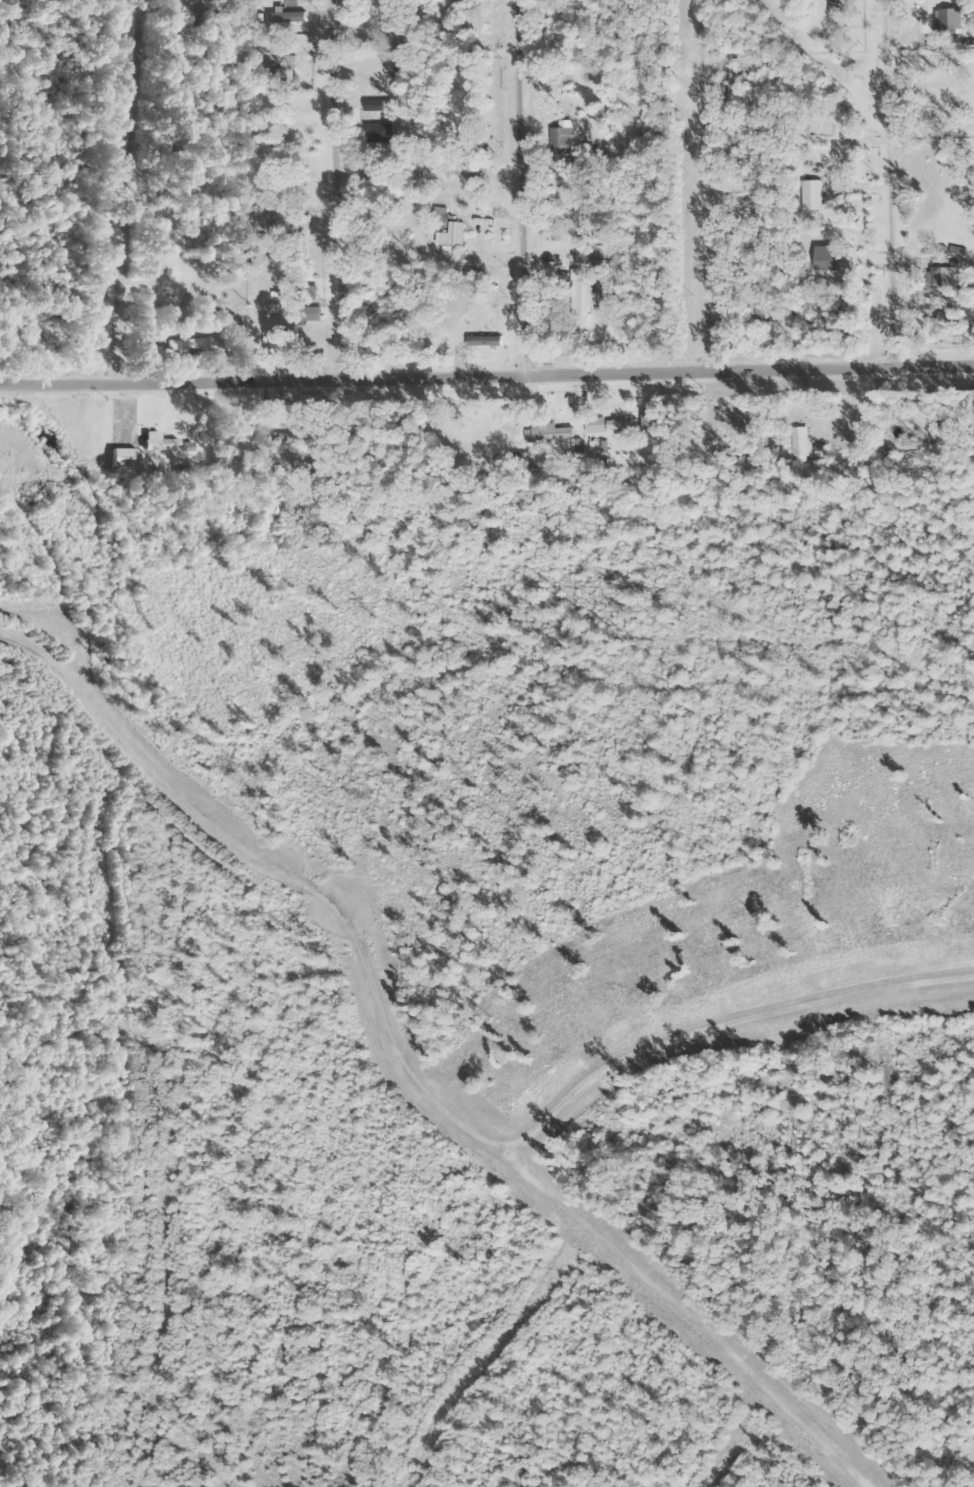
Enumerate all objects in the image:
building: (835, 7)
building: (372, 13)
building: (947, 22)
building: (542, 24)
building: (393, 58)
building: (732, 81)
building: (377, 105)
building: (376, 133)
building: (560, 141)
building: (375, 164)
road: (870, 173)
road: (686, 175)
road: (124, 178)
road: (326, 180)
road: (510, 180)
building: (264, 181)
building: (810, 195)
building: (439, 215)
building: (451, 242)
building: (826, 261)
building: (942, 277)
building: (580, 299)
building: (184, 345)
road: (487, 361)
building: (620, 424)
building: (549, 432)
building: (157, 443)
building: (797, 445)
building: (576, 446)
building: (911, 450)
building: (122, 458)

